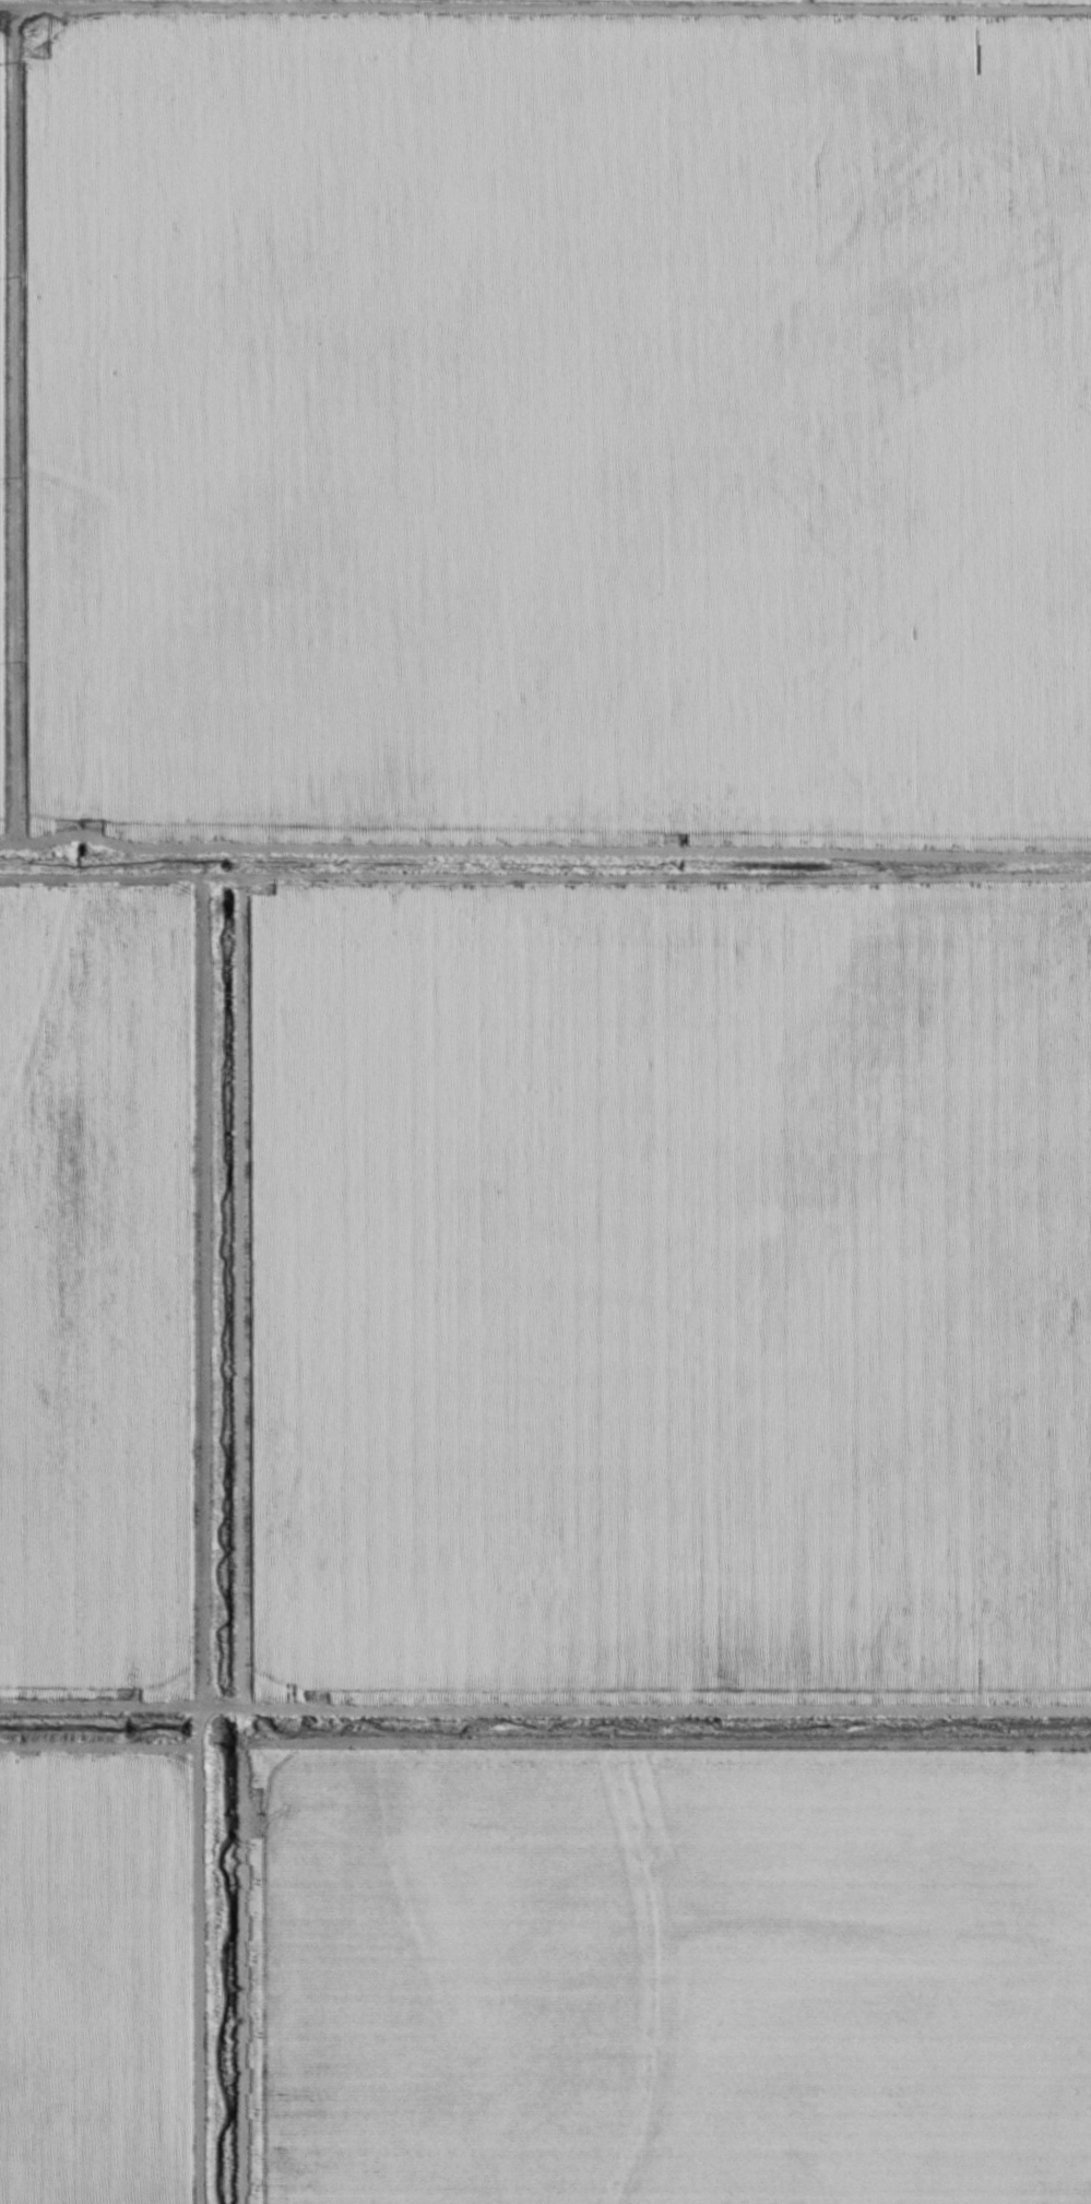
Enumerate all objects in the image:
road: (1066, 0)

